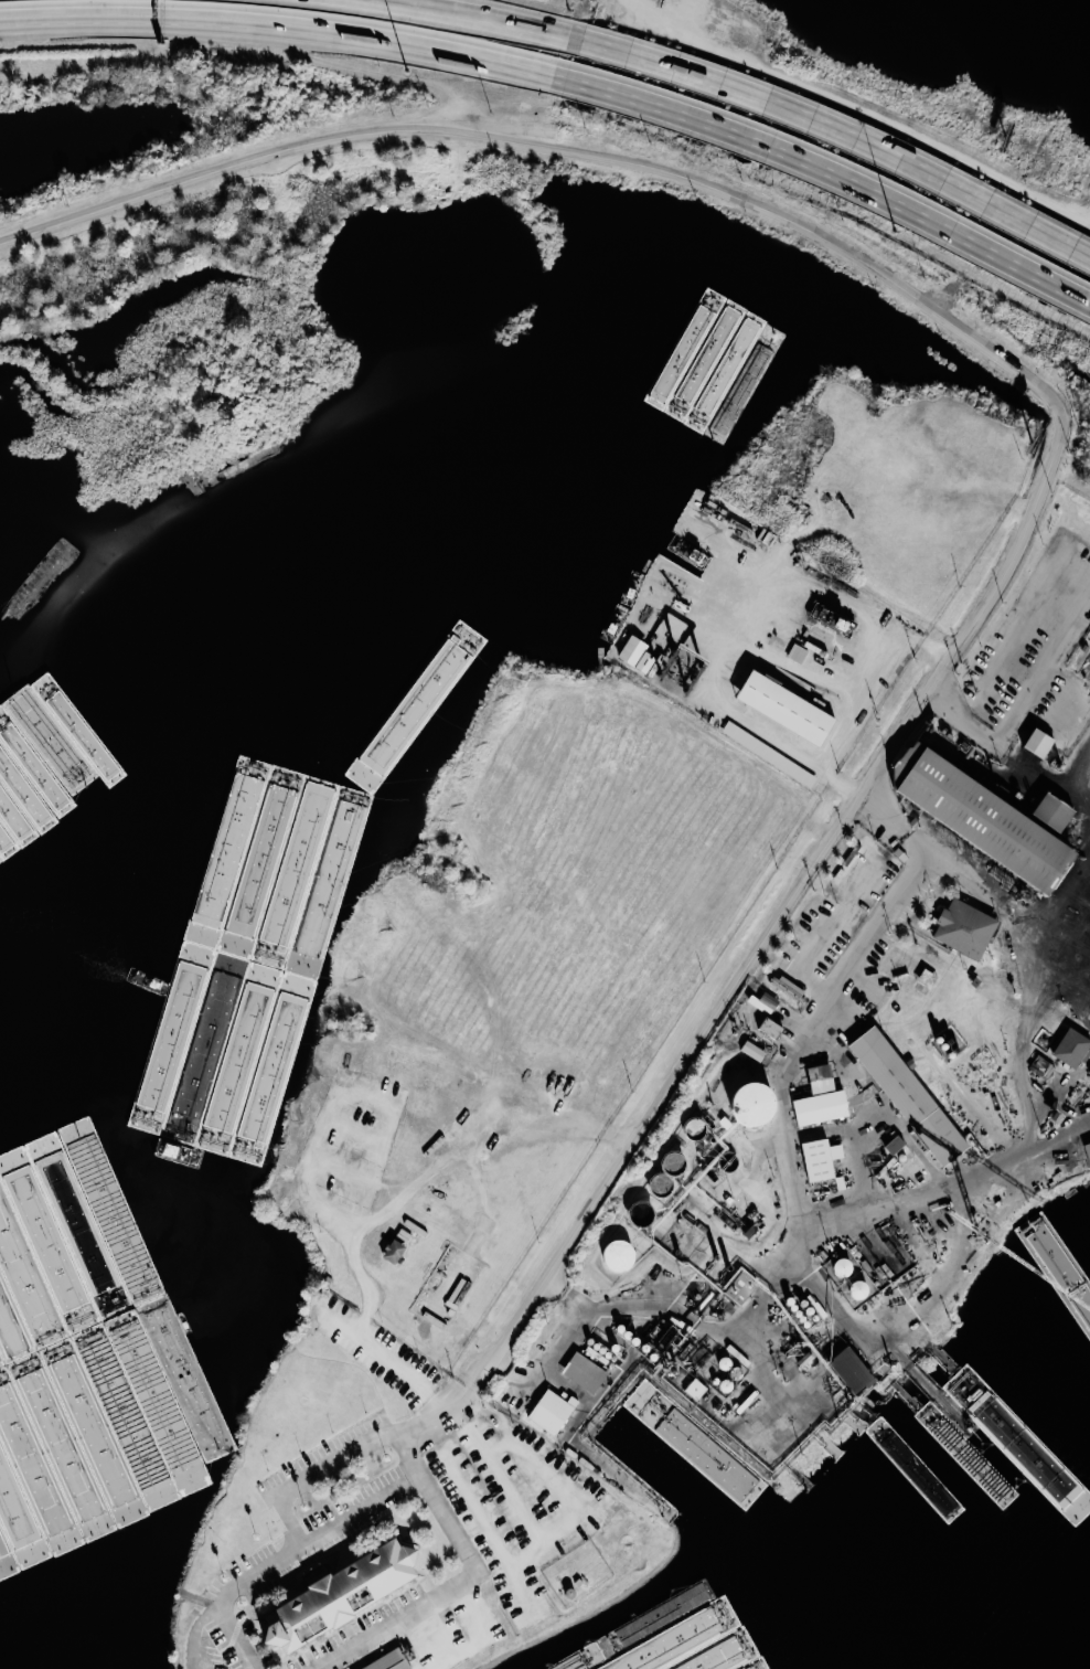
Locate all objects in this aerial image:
road: (472, 15)
road: (279, 22)
road: (835, 132)
road: (829, 174)
road: (1054, 467)
building: (701, 515)
building: (741, 525)
road: (822, 577)
building: (36, 583)
road: (1087, 583)
building: (635, 653)
building: (784, 708)
building: (1037, 743)
road: (1008, 746)
building: (768, 753)
road: (840, 773)
building: (1051, 812)
building: (980, 818)
building: (963, 928)
road: (822, 931)
building: (927, 978)
building: (788, 989)
building: (763, 1002)
building: (770, 1028)
building: (1071, 1048)
building: (752, 1051)
building: (1041, 1066)
building: (908, 1095)
building: (820, 1098)
road: (334, 1099)
building: (752, 1104)
building: (894, 1145)
building: (1088, 1151)
road: (808, 1157)
building: (820, 1158)
road: (957, 1187)
road: (393, 1205)
building: (393, 1252)
building: (619, 1255)
building: (1065, 1258)
road: (649, 1303)
road: (851, 1317)
road: (555, 1353)
building: (851, 1370)
building: (584, 1372)
building: (695, 1389)
building: (552, 1411)
road: (335, 1468)
road: (298, 1550)
road: (450, 1592)
building: (339, 1595)
road: (216, 1629)
building: (391, 1662)

